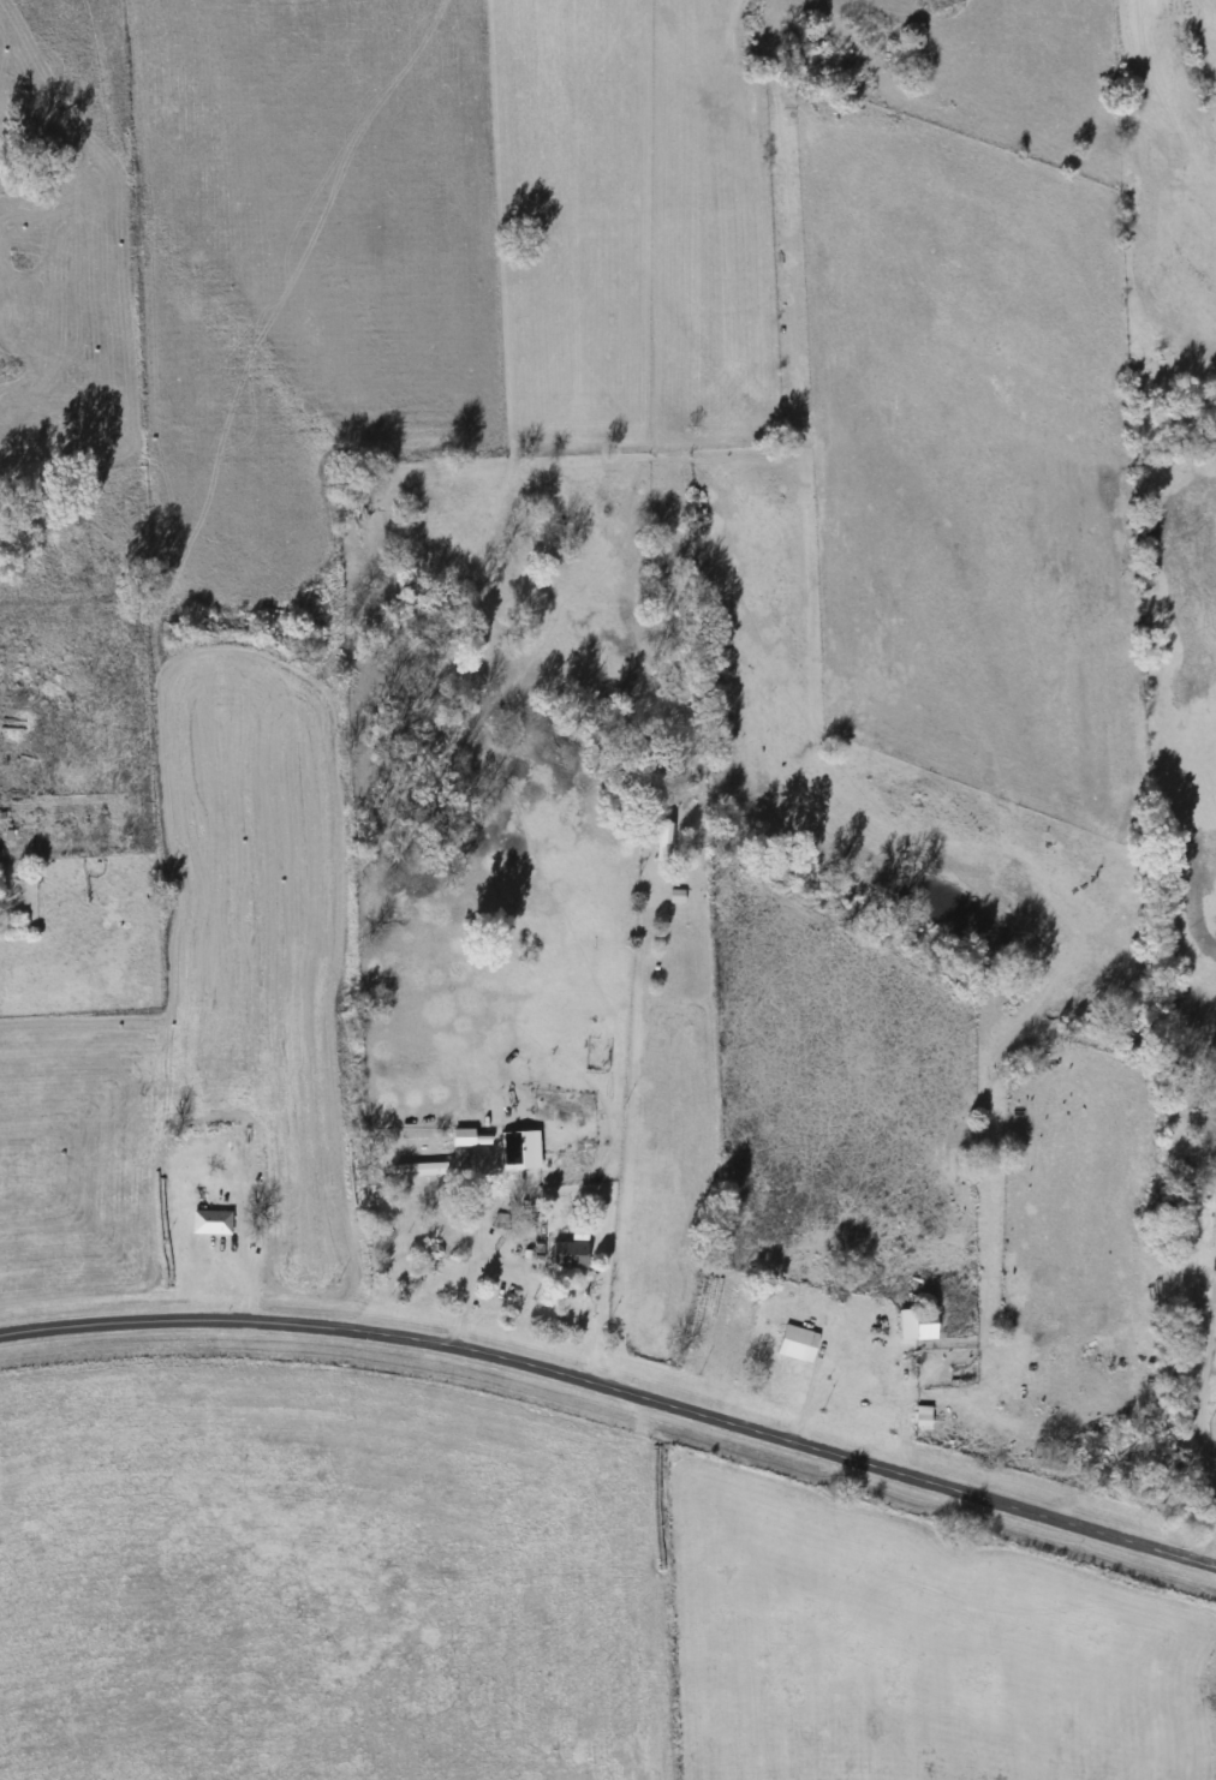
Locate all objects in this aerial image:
building: (663, 843)
building: (422, 1170)
building: (214, 1223)
building: (572, 1256)
building: (919, 1325)
building: (800, 1345)
road: (616, 1384)
building: (925, 1422)

